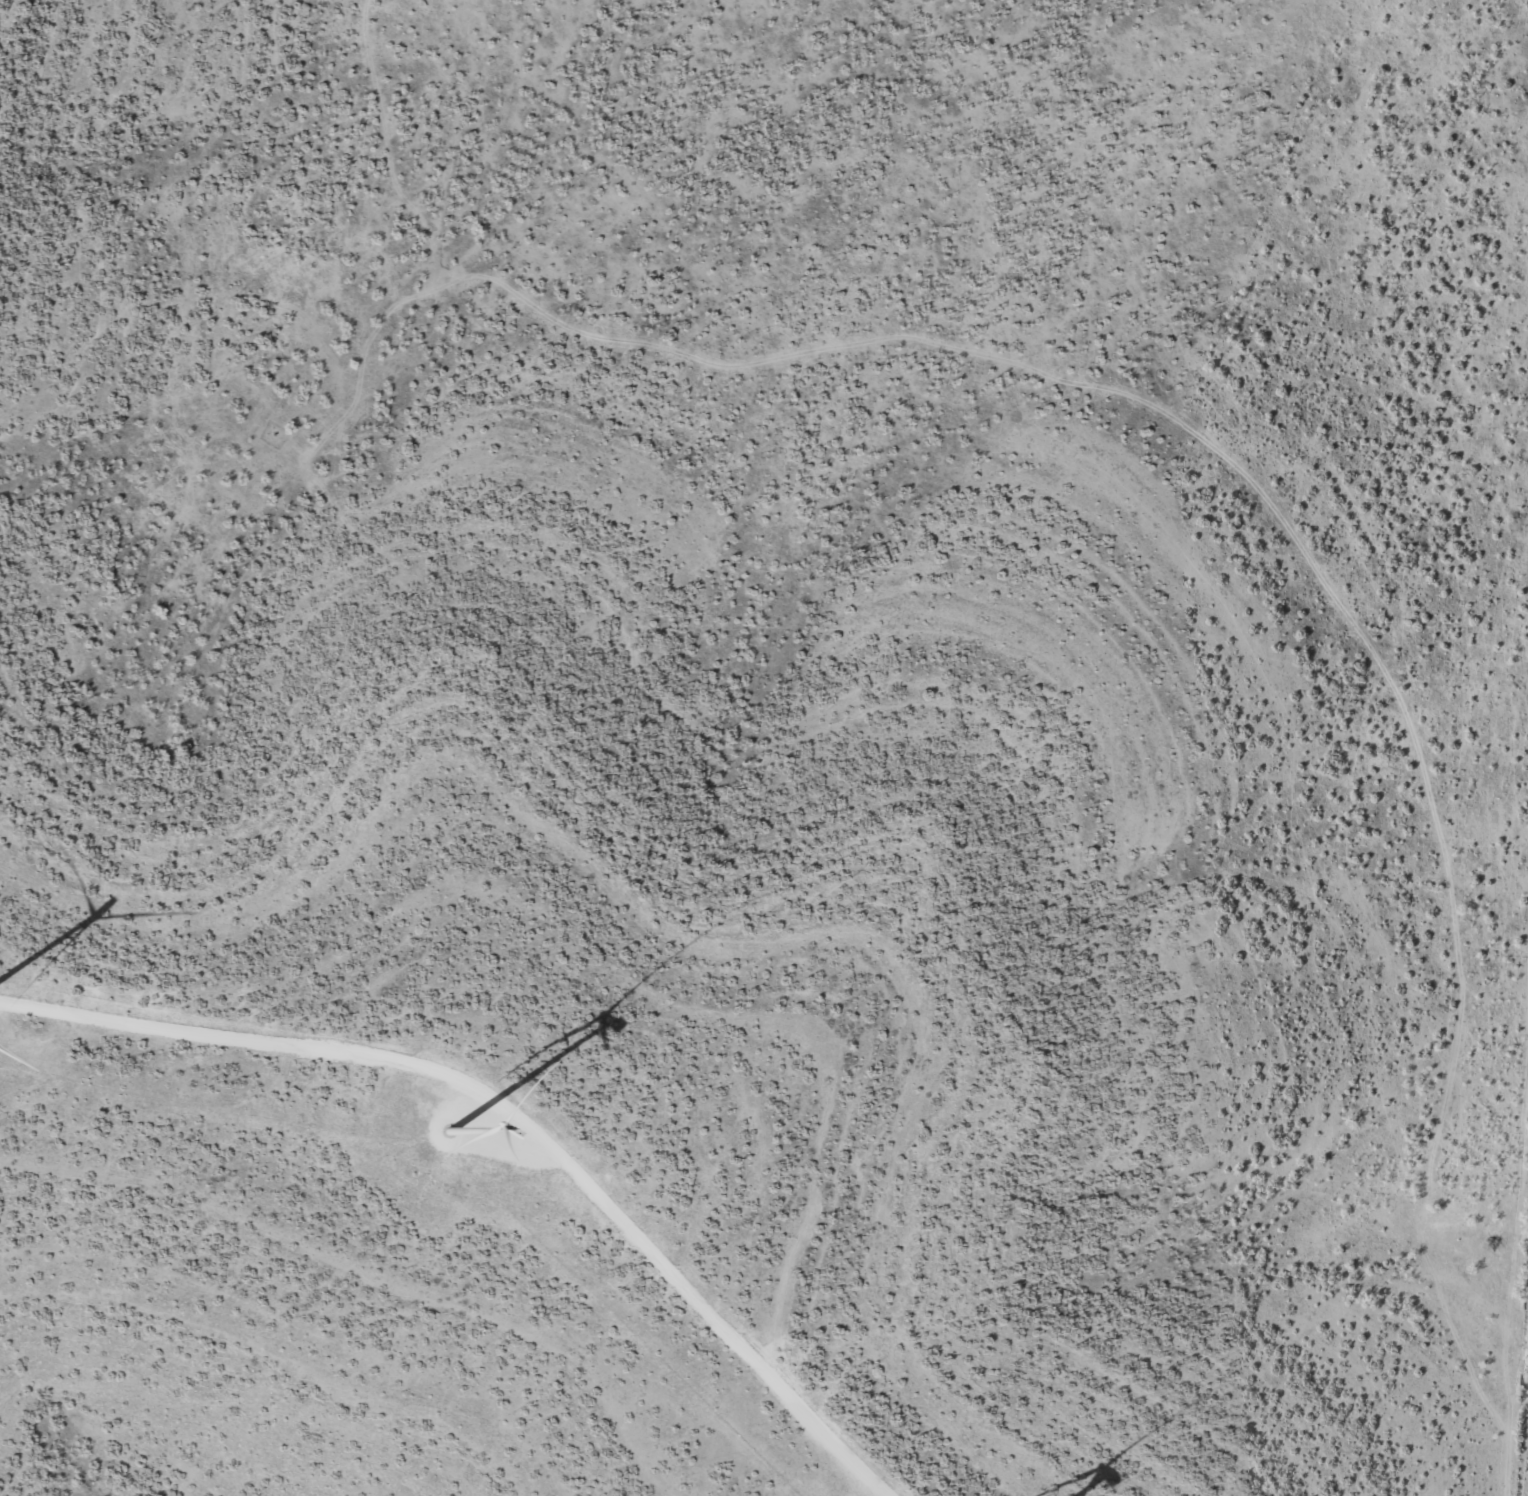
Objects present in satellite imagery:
road: (948, 771)
wind turbine: (449, 1132)

